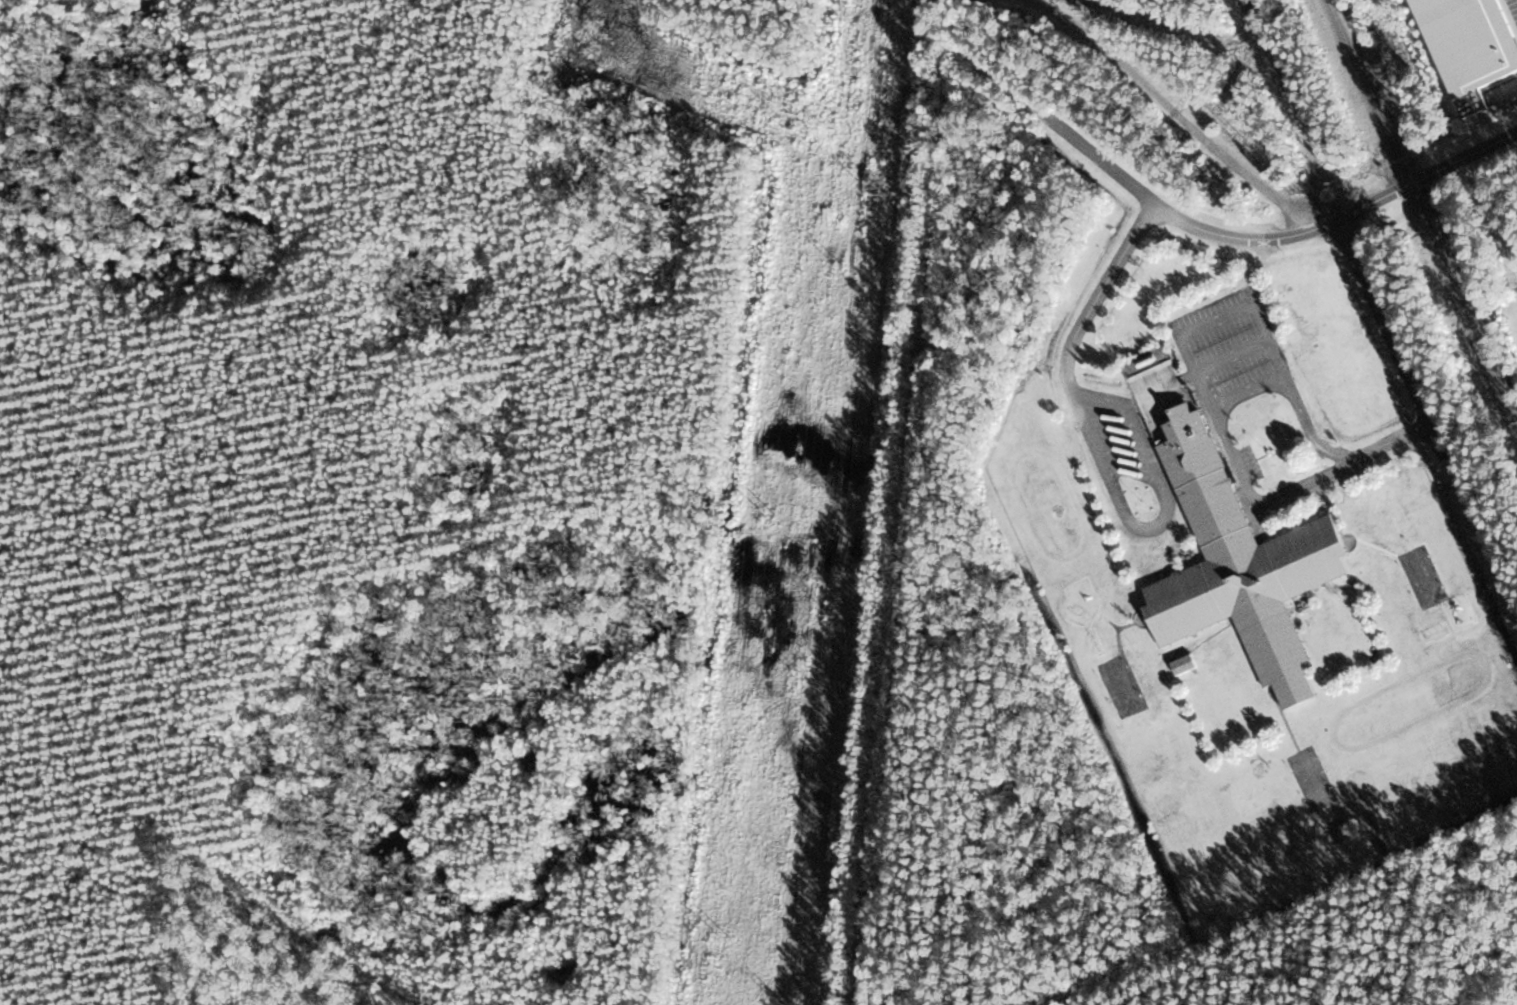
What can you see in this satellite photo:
power tower: (599, 45)
road: (1180, 115)
power tower: (809, 129)
power tower: (879, 192)
railway: (1423, 209)
road: (1274, 236)
power tower: (839, 265)
road: (1383, 322)
road: (1069, 349)
power tower: (769, 514)
building: (1237, 565)
power tower: (835, 614)
building: (1215, 651)
building: (1183, 665)
power tower: (797, 672)
power tower: (724, 934)

